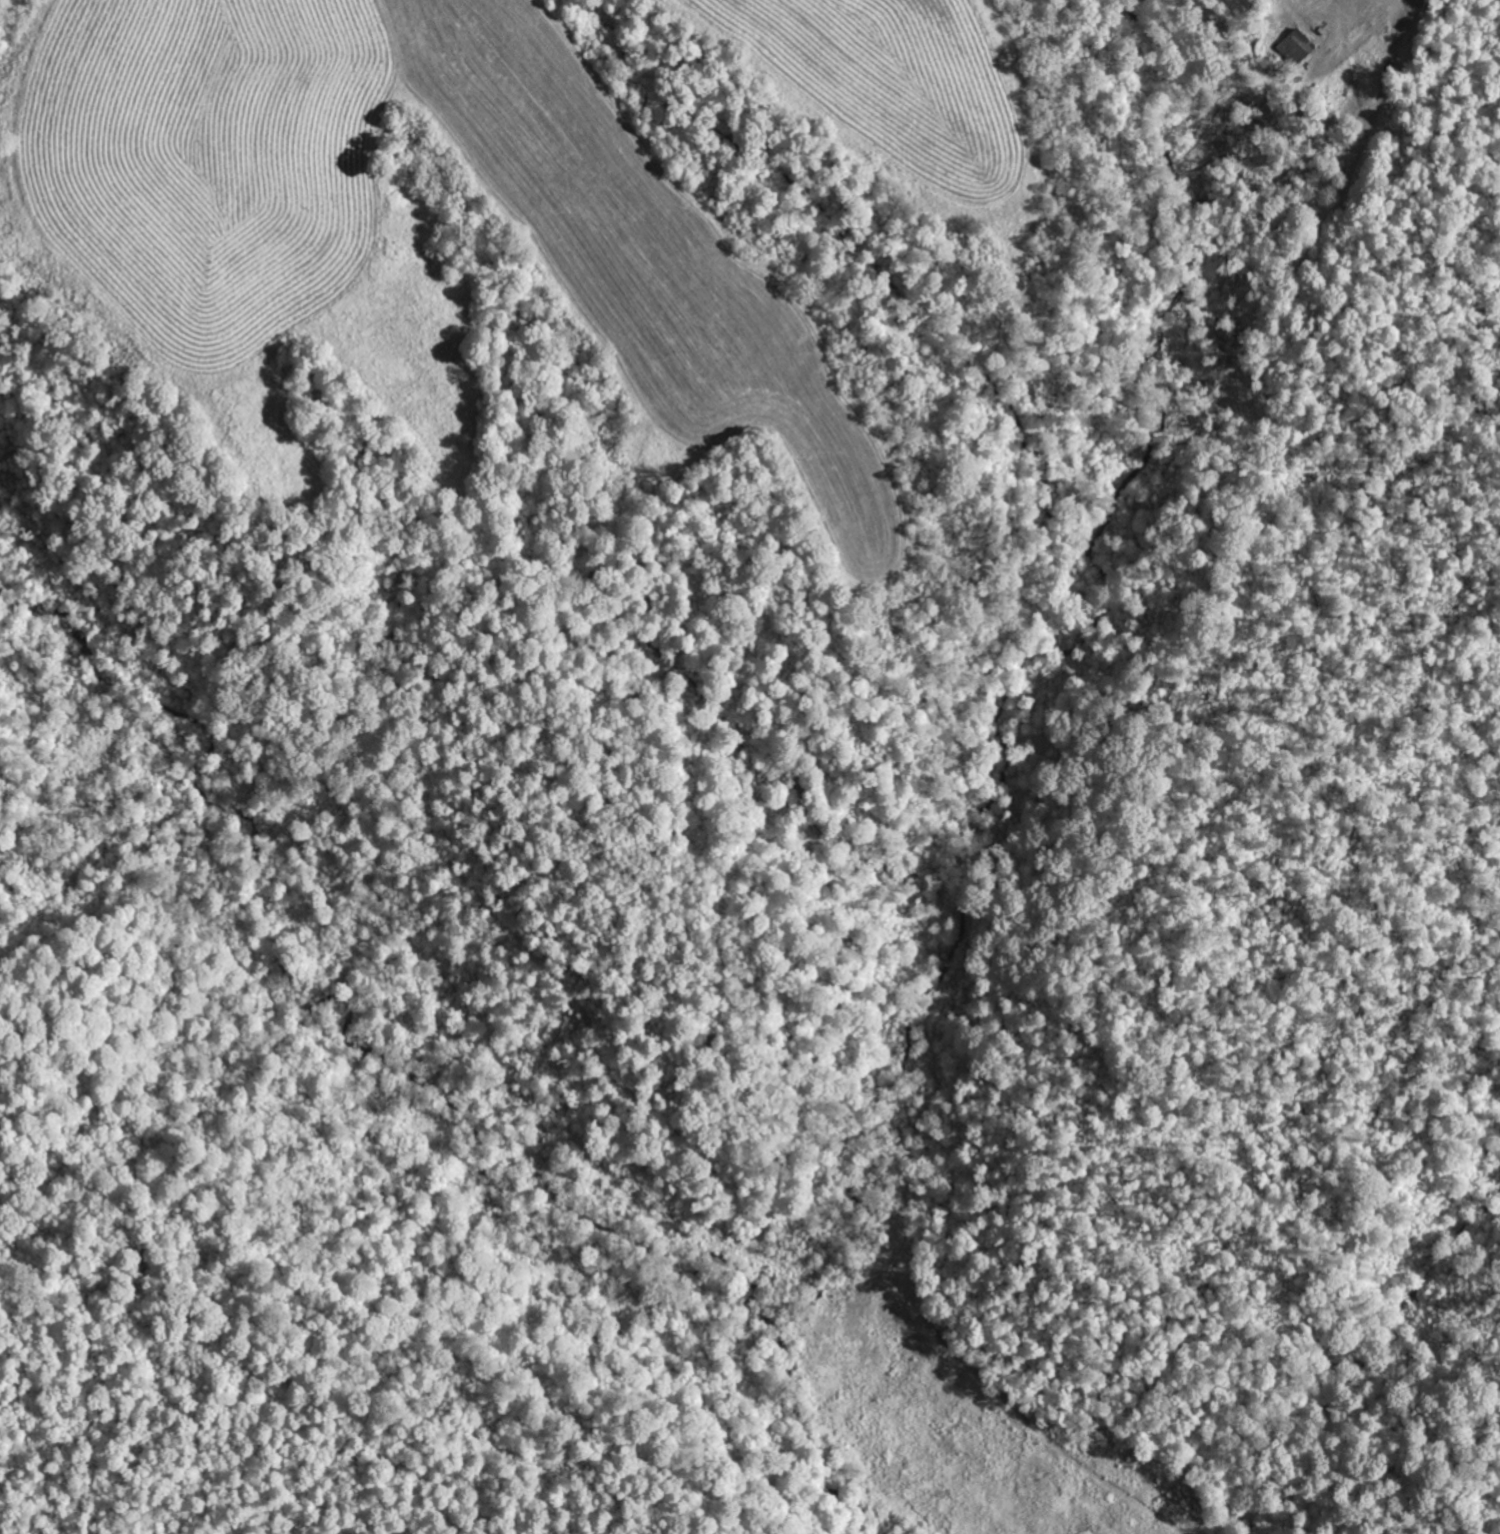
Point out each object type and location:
building: (1297, 45)
road: (1257, 1386)
road: (1442, 1455)

